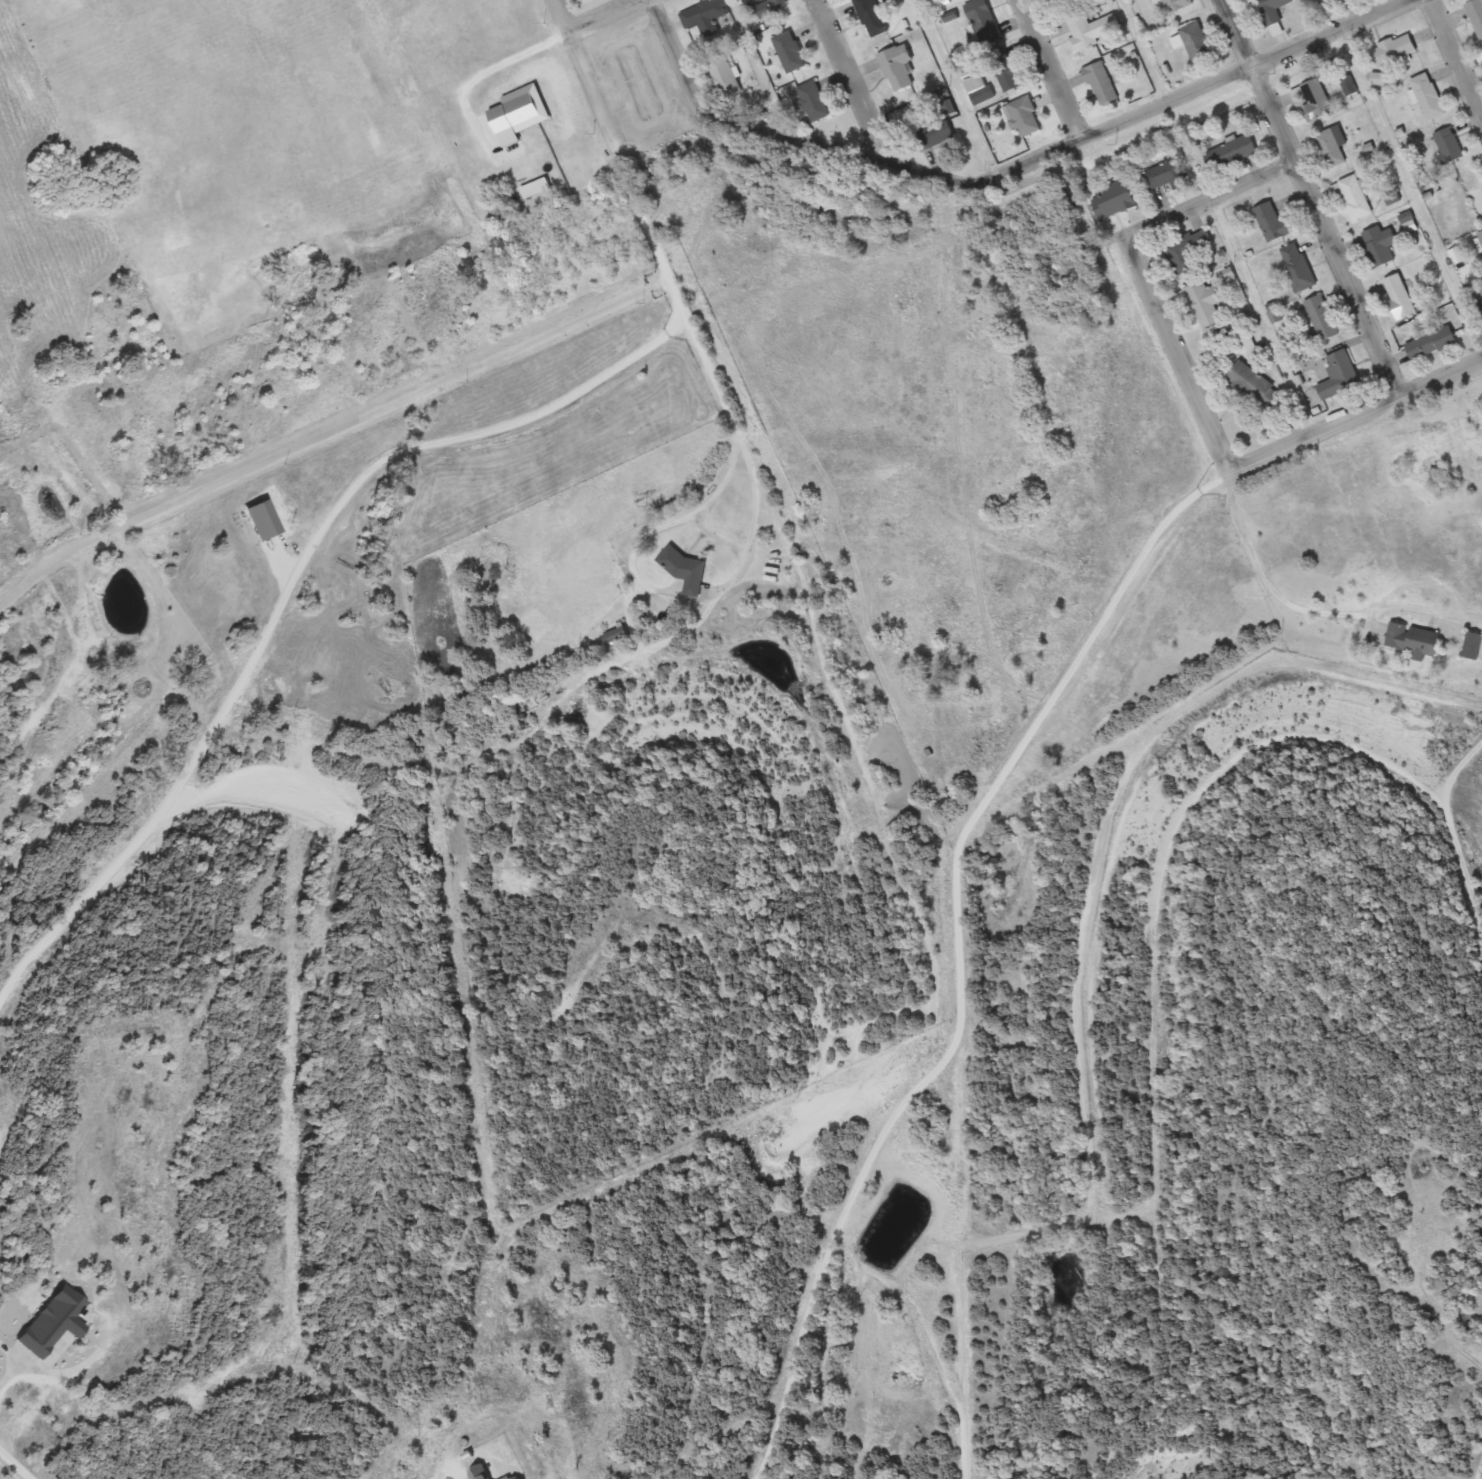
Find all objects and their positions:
building: (767, 4)
building: (1176, 5)
building: (977, 8)
building: (1272, 10)
road: (559, 15)
road: (602, 15)
building: (704, 15)
building: (1476, 15)
building: (872, 17)
building: (1082, 33)
building: (1196, 41)
building: (789, 51)
building: (1394, 51)
building: (1480, 57)
road: (1454, 63)
building: (898, 67)
road: (1049, 68)
building: (1005, 69)
building: (724, 75)
road: (849, 81)
building: (1101, 84)
building: (979, 89)
building: (1428, 96)
building: (1315, 100)
building: (814, 101)
road: (1149, 108)
building: (1022, 117)
road: (732, 119)
building: (934, 134)
building: (1449, 146)
building: (1331, 147)
building: (1236, 151)
building: (1167, 176)
road: (1208, 197)
road: (1311, 197)
building: (1354, 197)
building: (1115, 199)
building: (1274, 223)
road: (646, 226)
building: (1480, 237)
building: (1380, 245)
building: (1191, 249)
building: (1298, 267)
building: (1399, 296)
building: (1206, 304)
building: (1480, 307)
building: (1323, 319)
building: (1432, 343)
road: (1172, 350)
building: (1342, 367)
building: (1253, 383)
road: (1353, 416)
road: (754, 511)
building: (685, 570)
road: (1263, 582)
building: (1413, 640)
building: (1473, 646)
road: (1465, 759)

